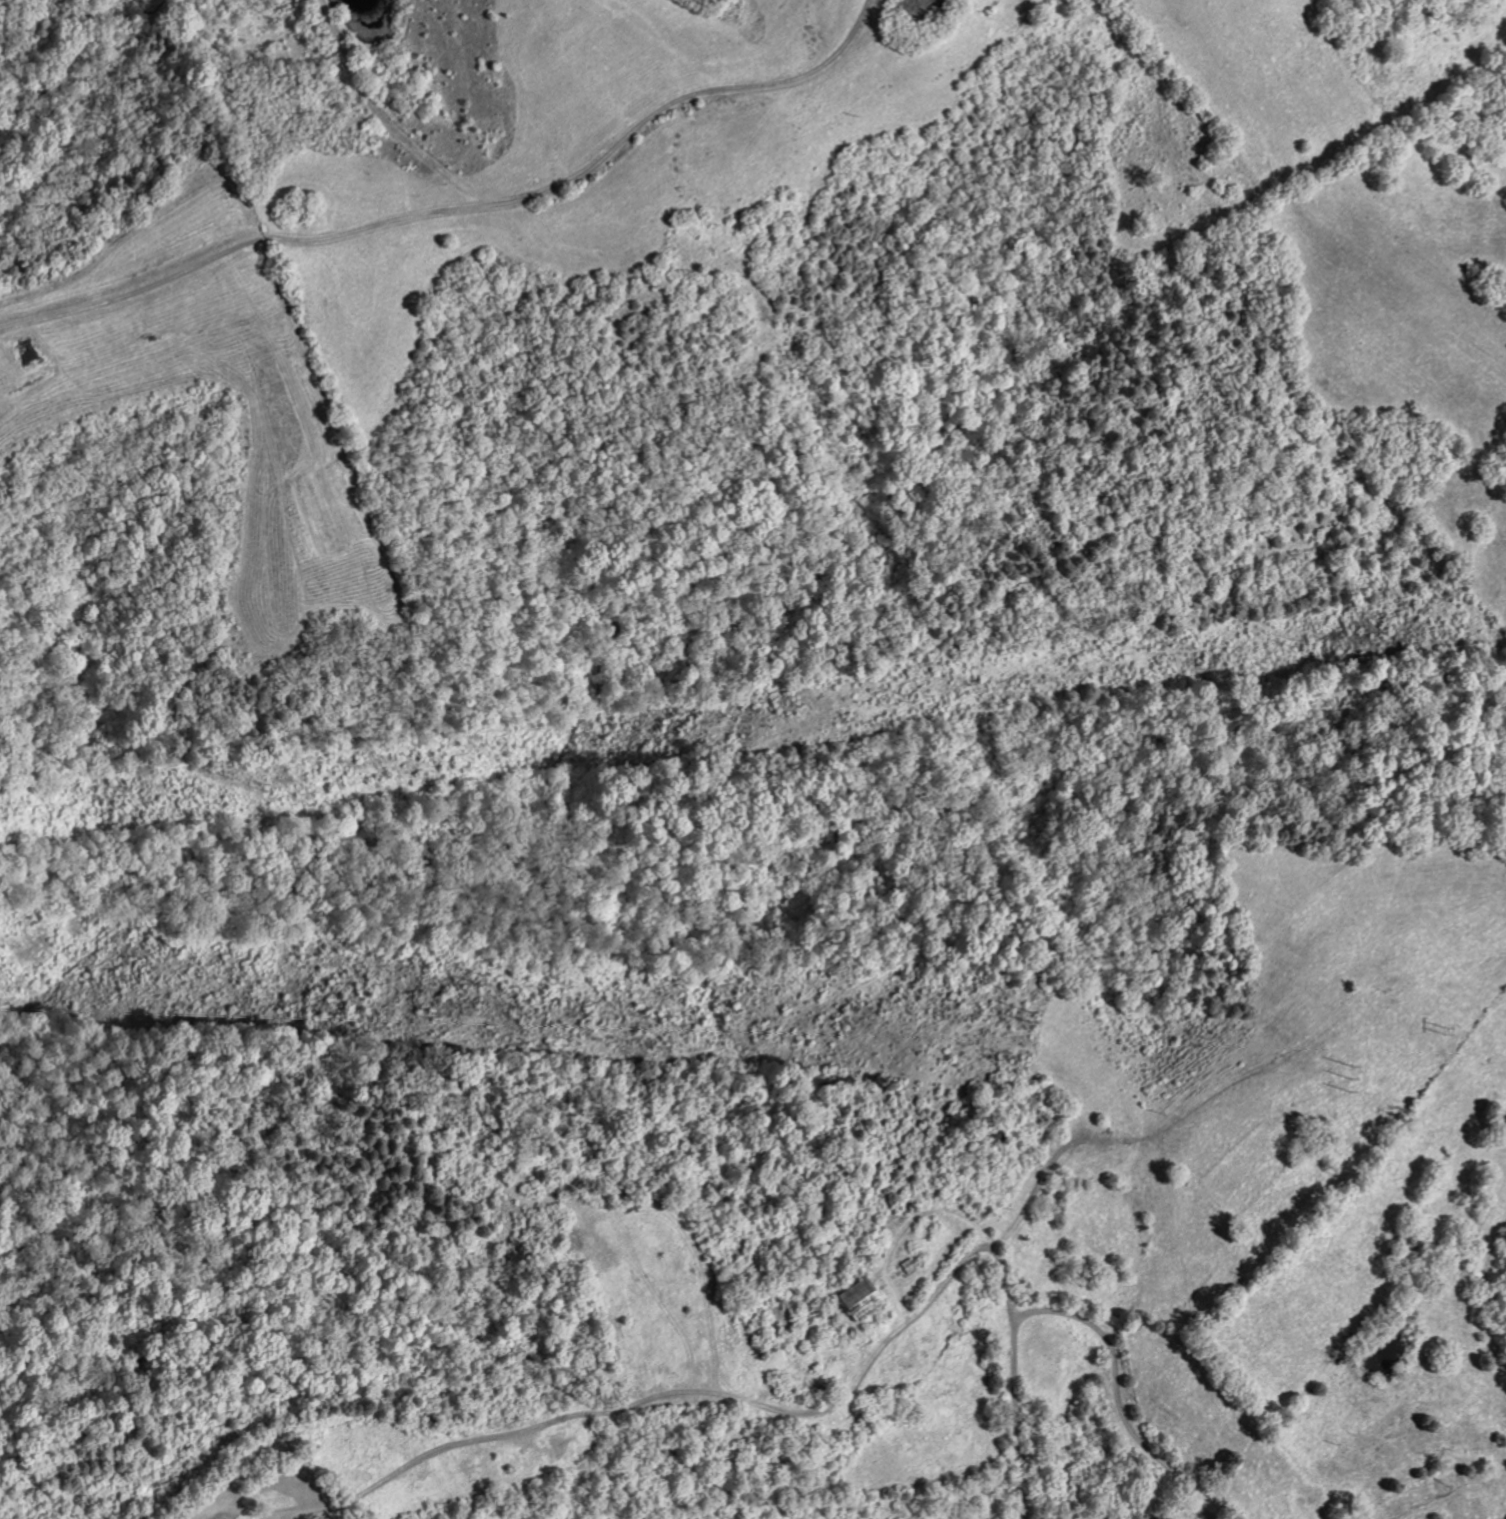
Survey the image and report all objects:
road: (824, 61)
road: (385, 223)
power tower: (1288, 640)
power tower: (896, 695)
power tower: (259, 785)
power tower: (480, 977)
power tower: (1027, 1011)
power tower: (434, 1014)
power tower: (1443, 1025)
power tower: (1206, 1038)
power tower: (998, 1053)
power tower: (1348, 1074)
building: (860, 1301)
road: (1070, 1315)

